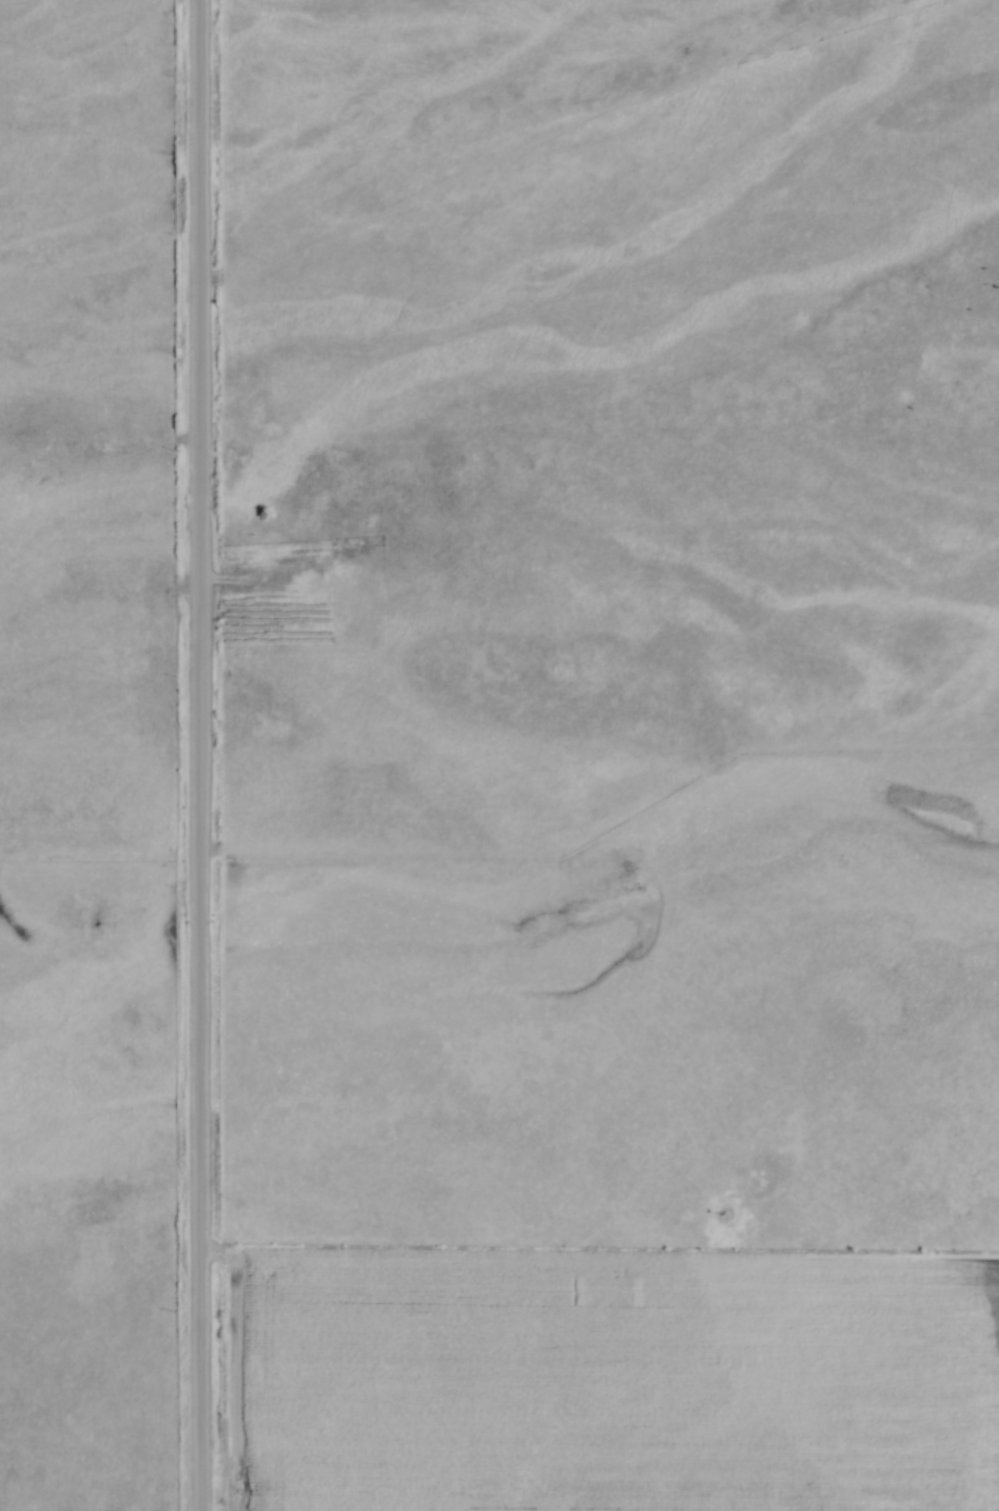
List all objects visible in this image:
road: (194, 755)

